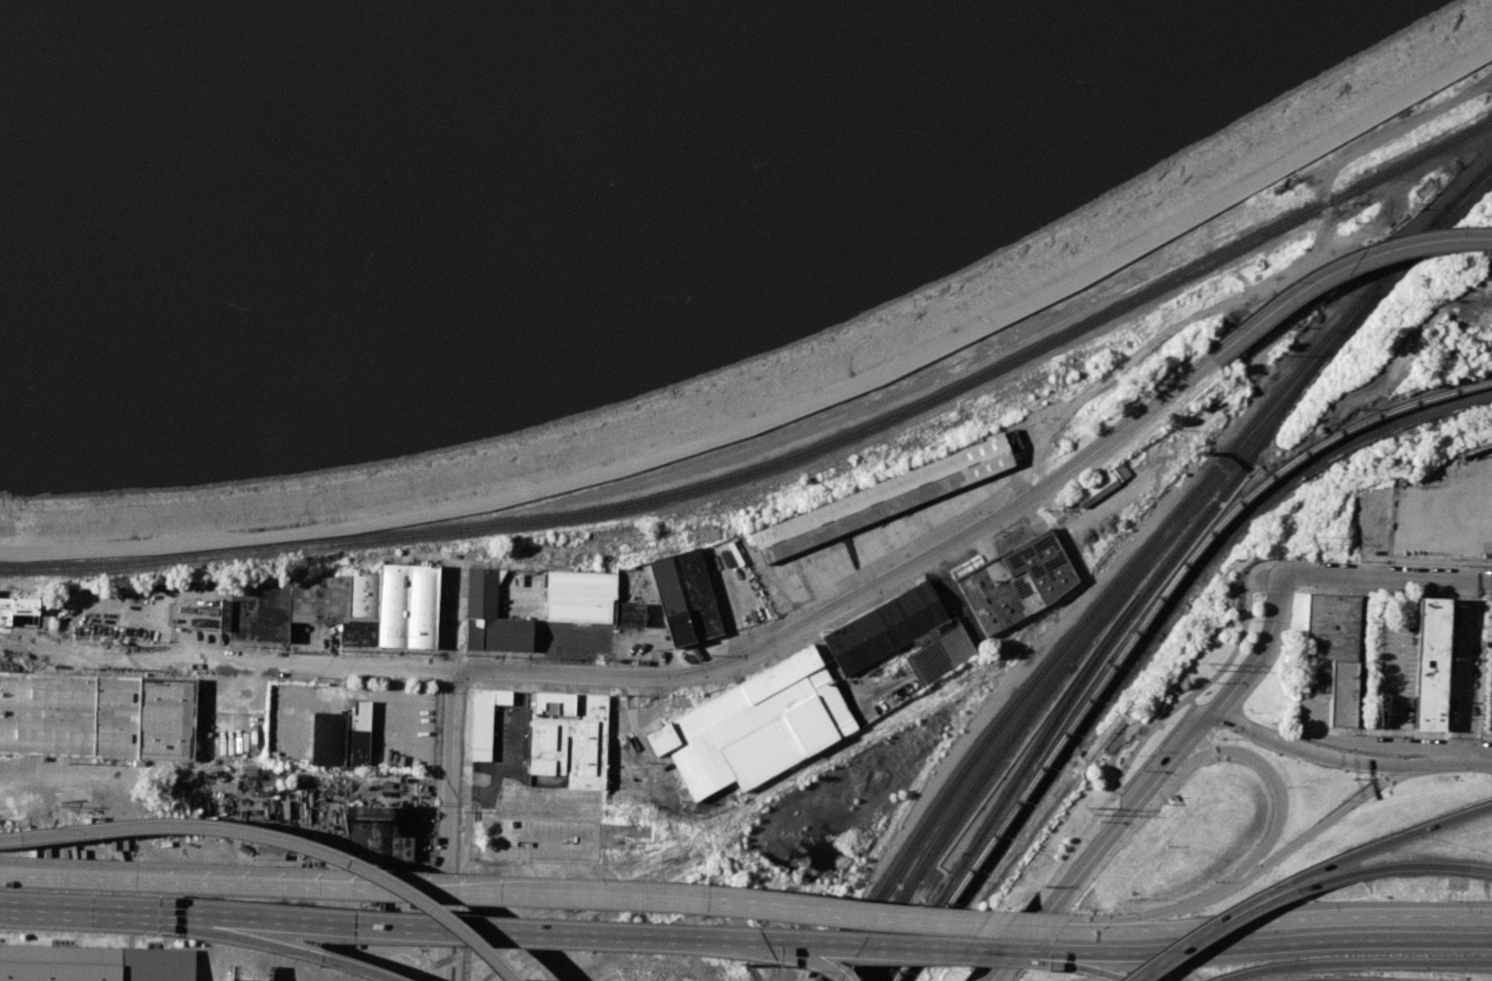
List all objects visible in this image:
river: (374, 120)
railway: (1470, 185)
railway: (1470, 188)
railway: (1341, 190)
railway: (1391, 252)
road: (1339, 268)
railway: (1384, 282)
railway: (1302, 448)
railway: (1204, 451)
railway: (1305, 453)
railway: (780, 462)
railway: (1280, 483)
building: (1096, 490)
building: (882, 498)
power tower: (1311, 542)
railway: (1149, 563)
road: (1388, 577)
railway: (1119, 580)
building: (581, 581)
building: (1016, 582)
road: (1264, 587)
building: (699, 593)
building: (671, 601)
building: (373, 605)
building: (578, 605)
building: (16, 608)
building: (256, 613)
building: (628, 613)
building: (491, 616)
building: (1332, 627)
building: (885, 628)
building: (941, 655)
railway: (1095, 659)
building: (1431, 663)
power tower: (1204, 665)
road: (1470, 669)
building: (1489, 673)
road: (652, 675)
road: (1398, 689)
building: (1342, 693)
road: (1362, 705)
building: (68, 714)
building: (166, 718)
building: (485, 720)
building: (755, 726)
building: (341, 737)
building: (569, 737)
railway: (1068, 741)
road: (1305, 751)
road: (1131, 755)
road: (1471, 757)
road: (1427, 760)
railway: (935, 762)
road: (450, 767)
road: (106, 780)
road: (1277, 782)
road: (1151, 785)
railway: (1030, 787)
power tower: (1085, 812)
railway: (1018, 820)
road: (1423, 828)
building: (379, 829)
road: (57, 832)
road: (328, 855)
road: (1265, 863)
road: (1409, 866)
road: (1304, 878)
road: (1290, 892)
road: (531, 897)
road: (69, 906)
railway: (937, 914)
road: (1430, 915)
road: (1239, 921)
road: (224, 927)
road: (1086, 927)
road: (589, 931)
road: (213, 932)
road: (1194, 940)
road: (265, 942)
road: (1284, 944)
road: (1059, 952)
road: (436, 957)
road: (811, 959)
building: (94, 963)
road: (1398, 964)
road: (1102, 969)
road: (1261, 970)

